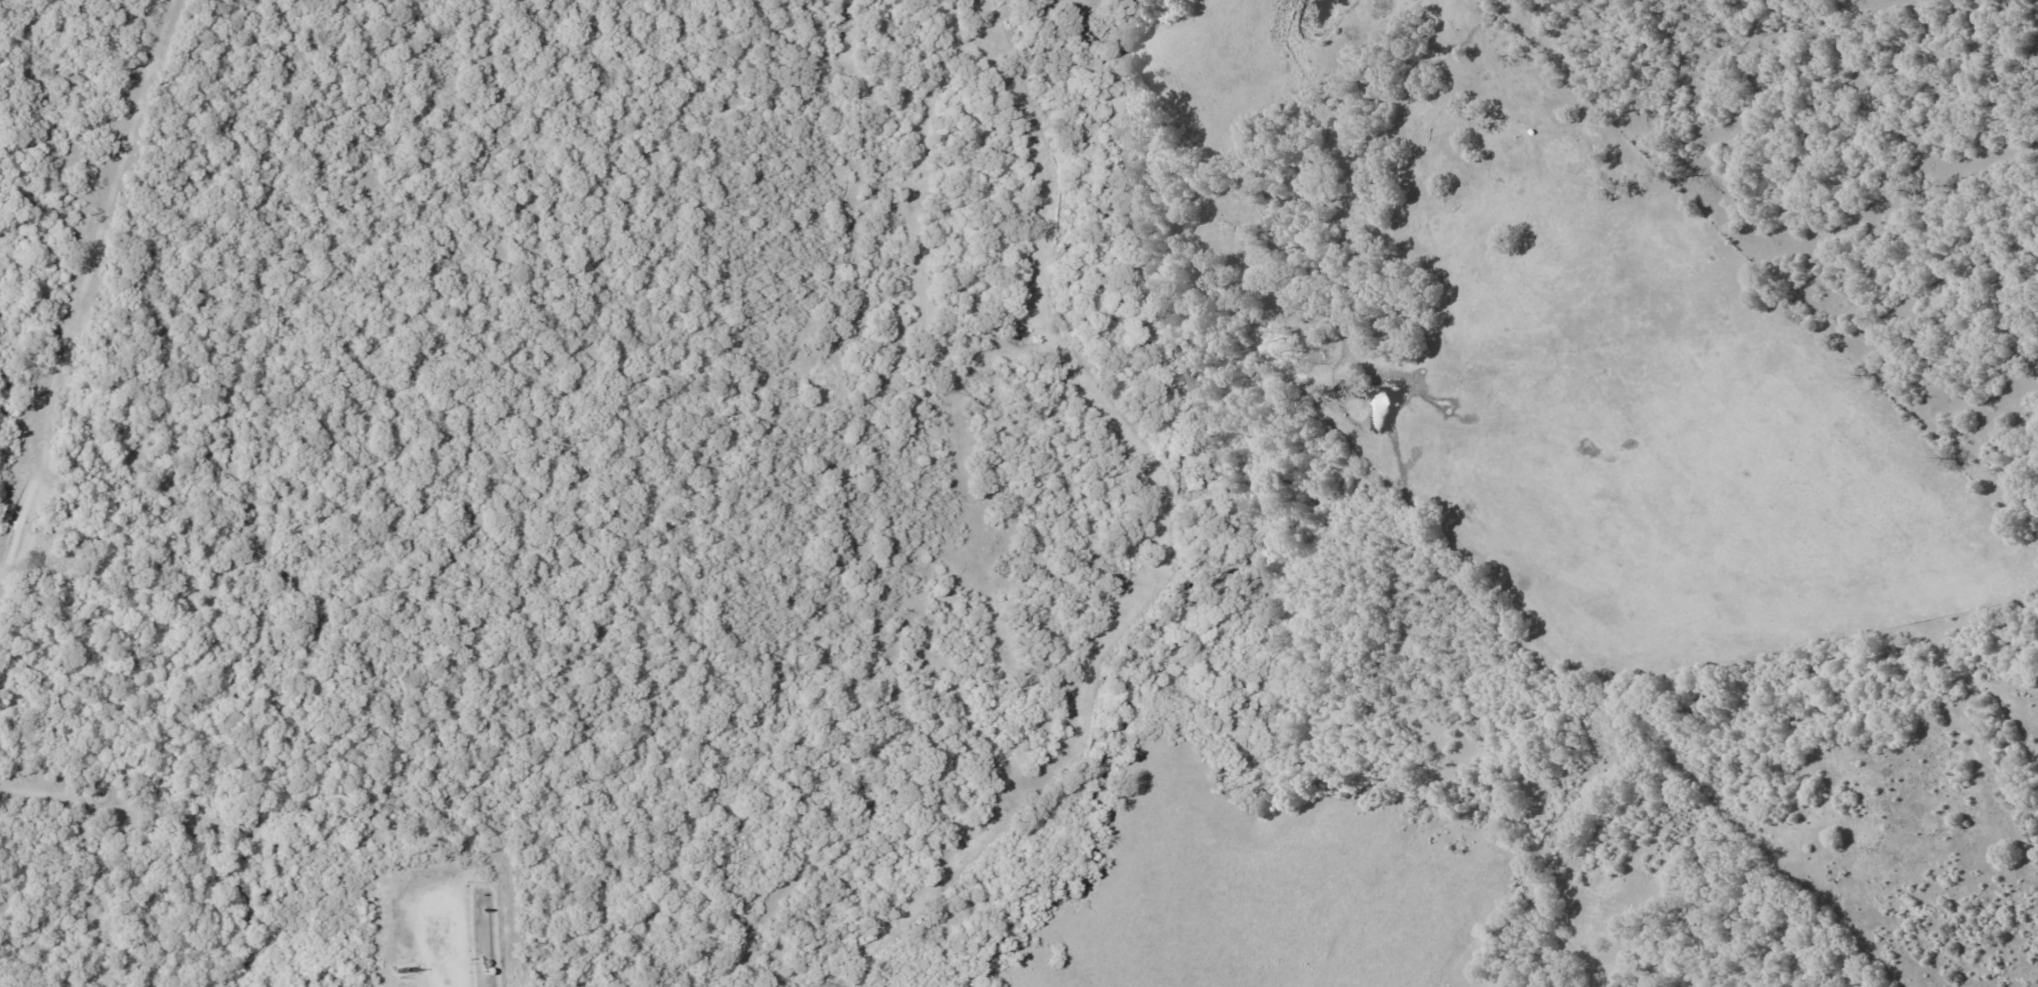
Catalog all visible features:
road: (1474, 46)
petroleum well: (410, 970)

